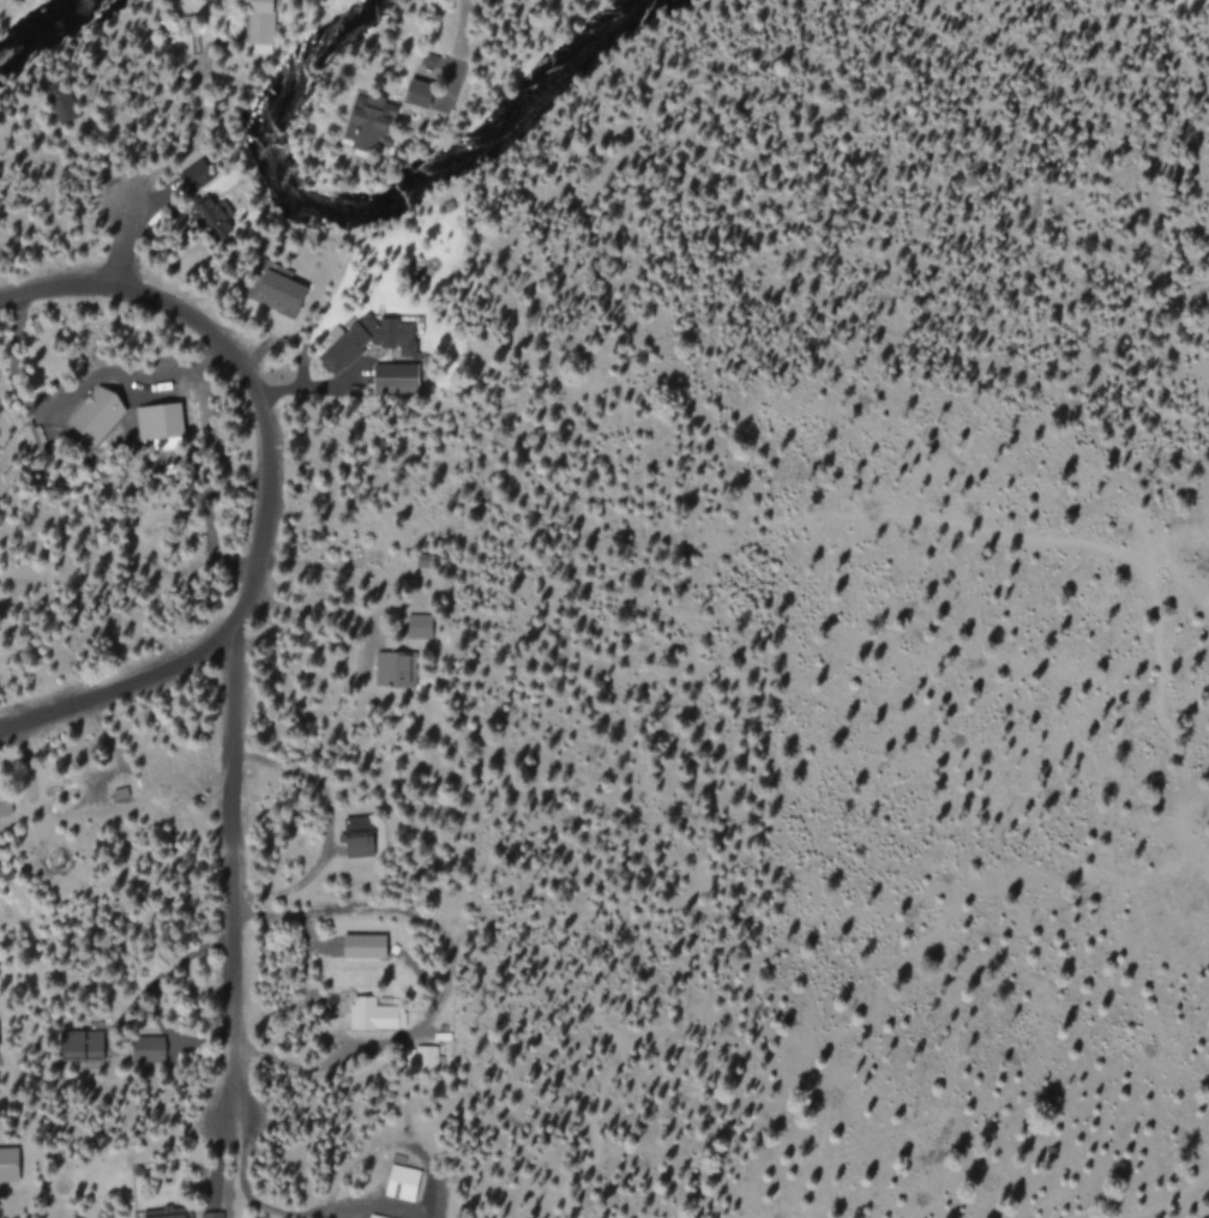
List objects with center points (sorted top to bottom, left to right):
river: (40, 23)
building: (419, 92)
building: (369, 121)
river: (383, 188)
road: (124, 245)
building: (279, 291)
road: (237, 368)
building: (396, 376)
building: (97, 417)
building: (420, 625)
building: (396, 668)
road: (122, 688)
building: (361, 845)
road: (233, 870)
building: (365, 946)
building: (371, 1012)
building: (83, 1045)
building: (149, 1051)
building: (419, 1057)
building: (10, 1174)
building: (403, 1182)
building: (212, 1214)
building: (167, 1216)
building: (375, 1216)

